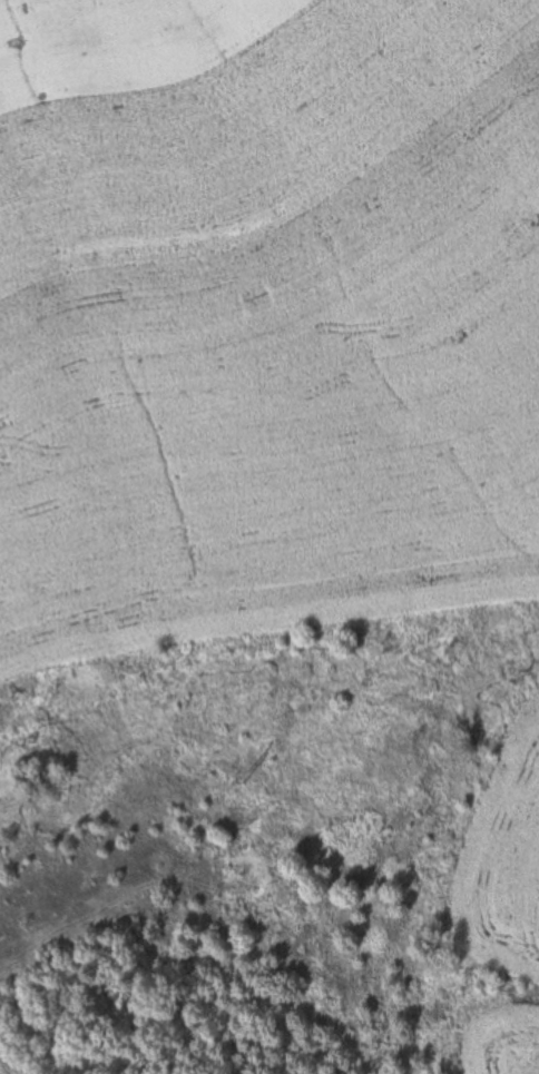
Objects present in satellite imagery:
road: (32, 952)

